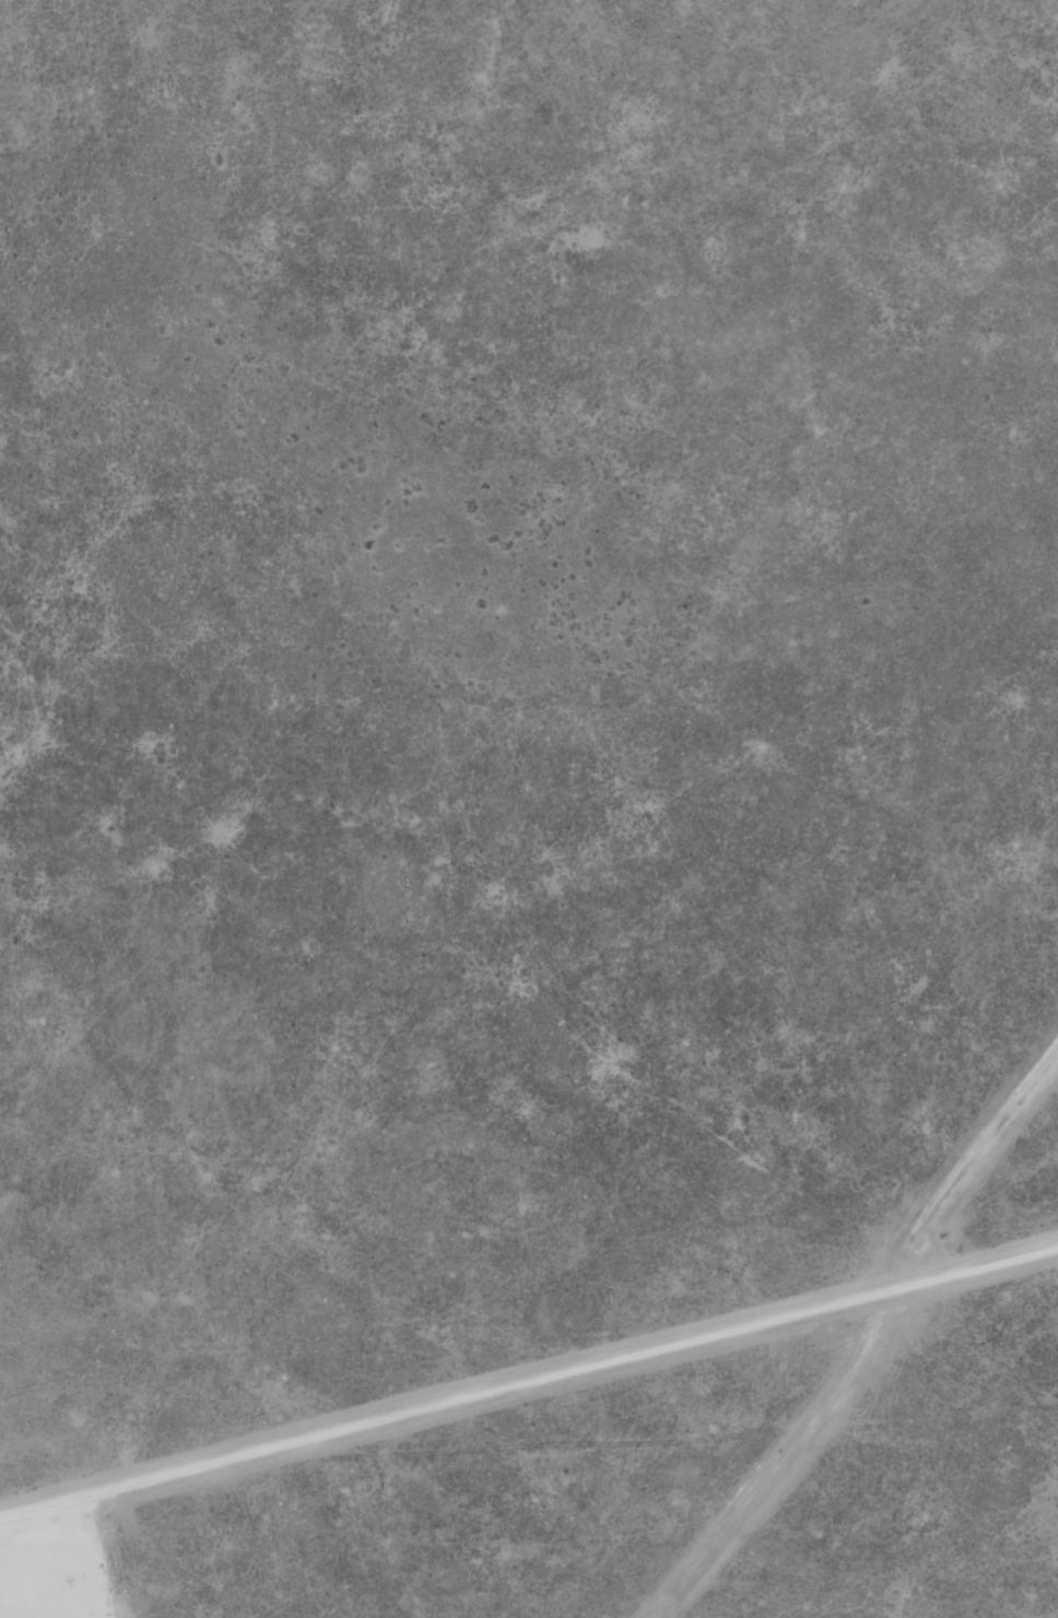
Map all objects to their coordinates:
road: (529, 1382)

